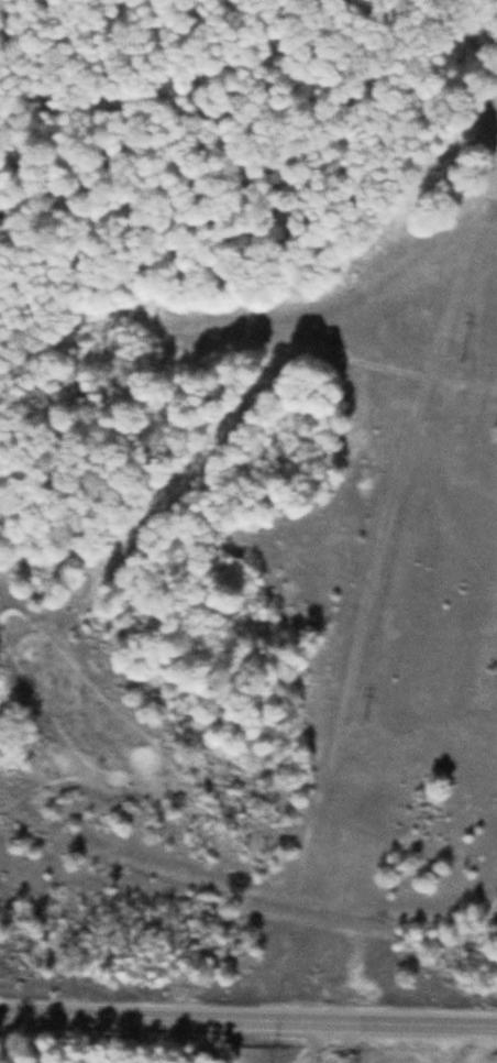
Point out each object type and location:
road: (247, 1021)

